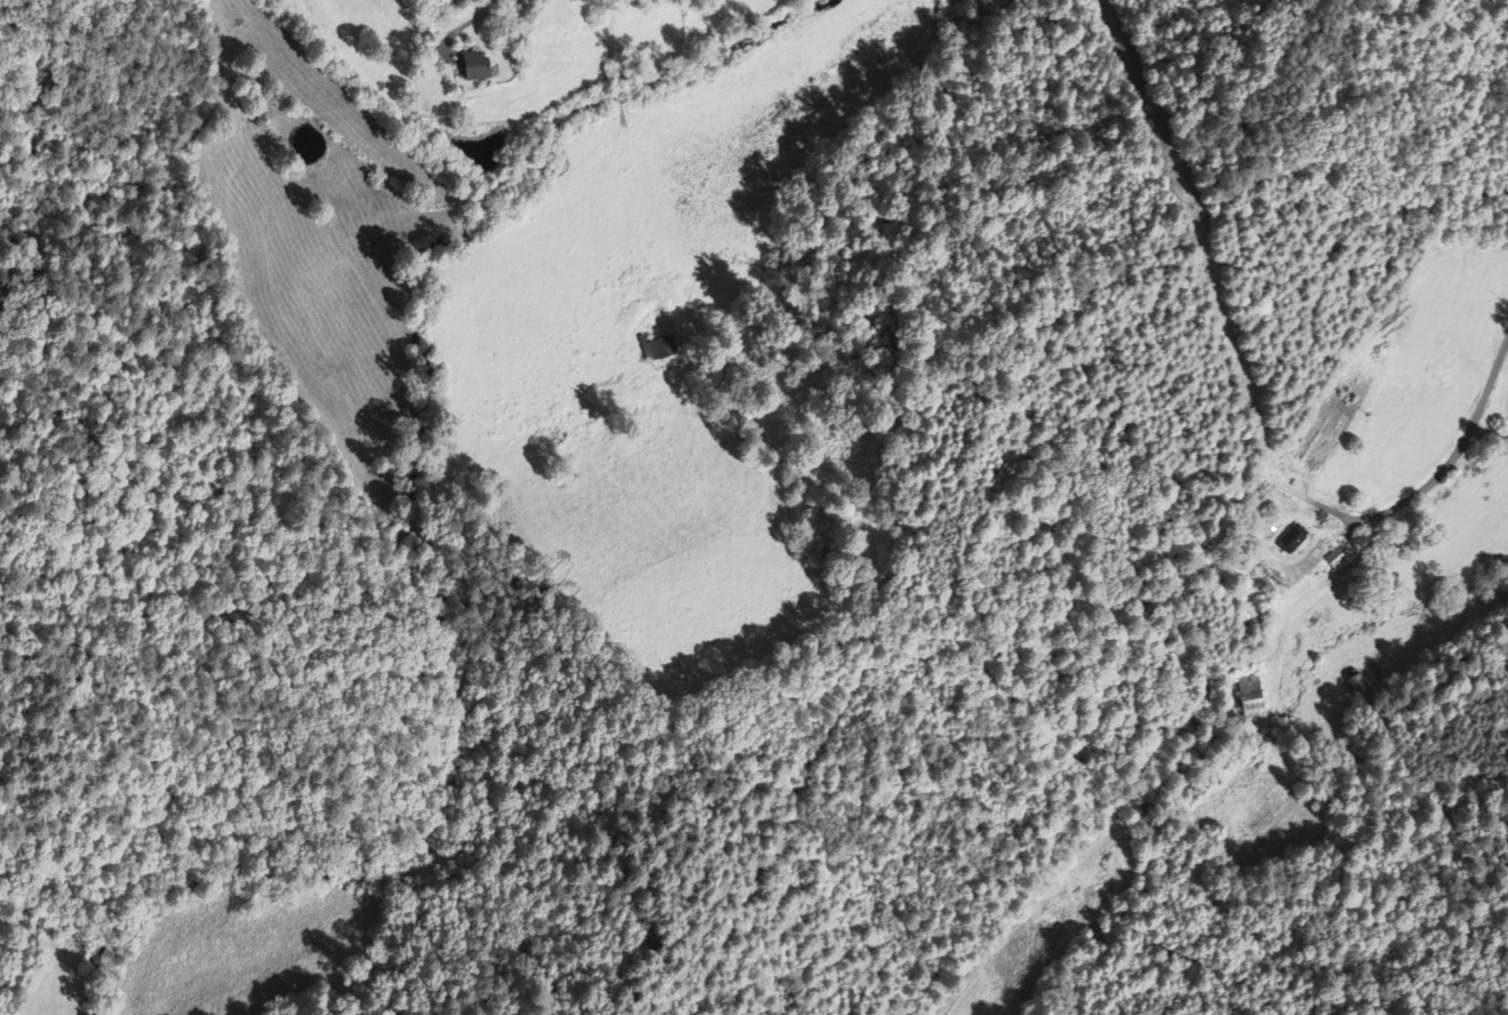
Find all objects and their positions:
building: (472, 69)
building: (657, 350)
road: (1455, 452)
building: (1249, 501)
building: (1292, 541)
building: (1250, 698)

